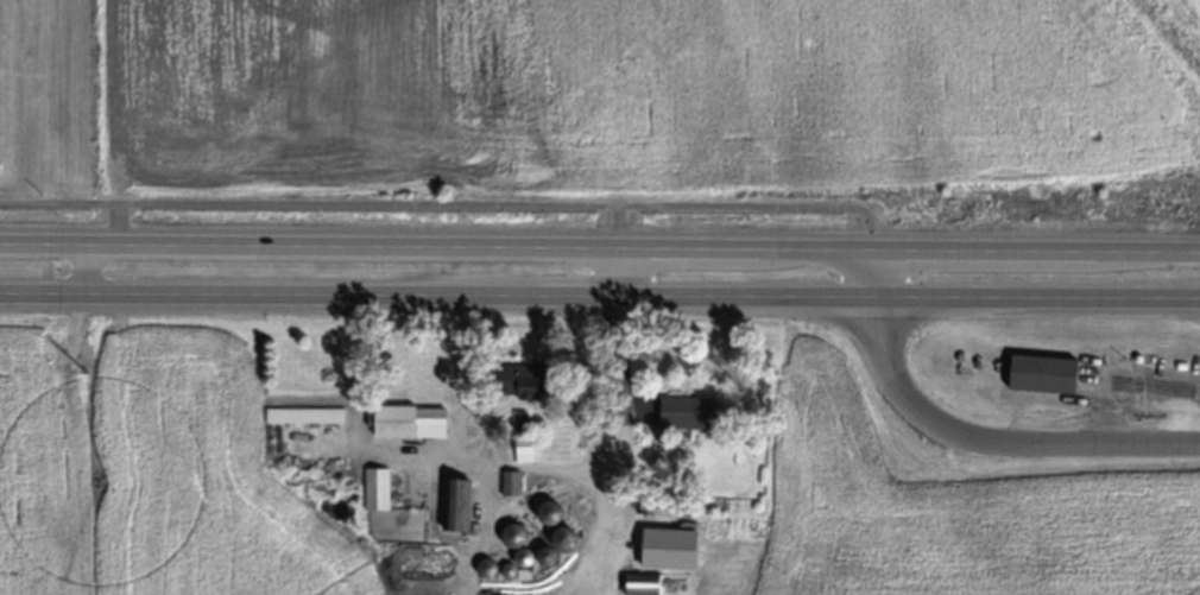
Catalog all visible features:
crop: (643, 93)
road: (453, 202)
road: (599, 242)
road: (109, 297)
road: (708, 302)
building: (1044, 374)
building: (524, 381)
building: (689, 412)
building: (305, 416)
building: (411, 422)
road: (966, 441)
building: (378, 490)
building: (456, 506)
building: (549, 515)
building: (564, 540)
building: (429, 575)
building: (643, 585)

